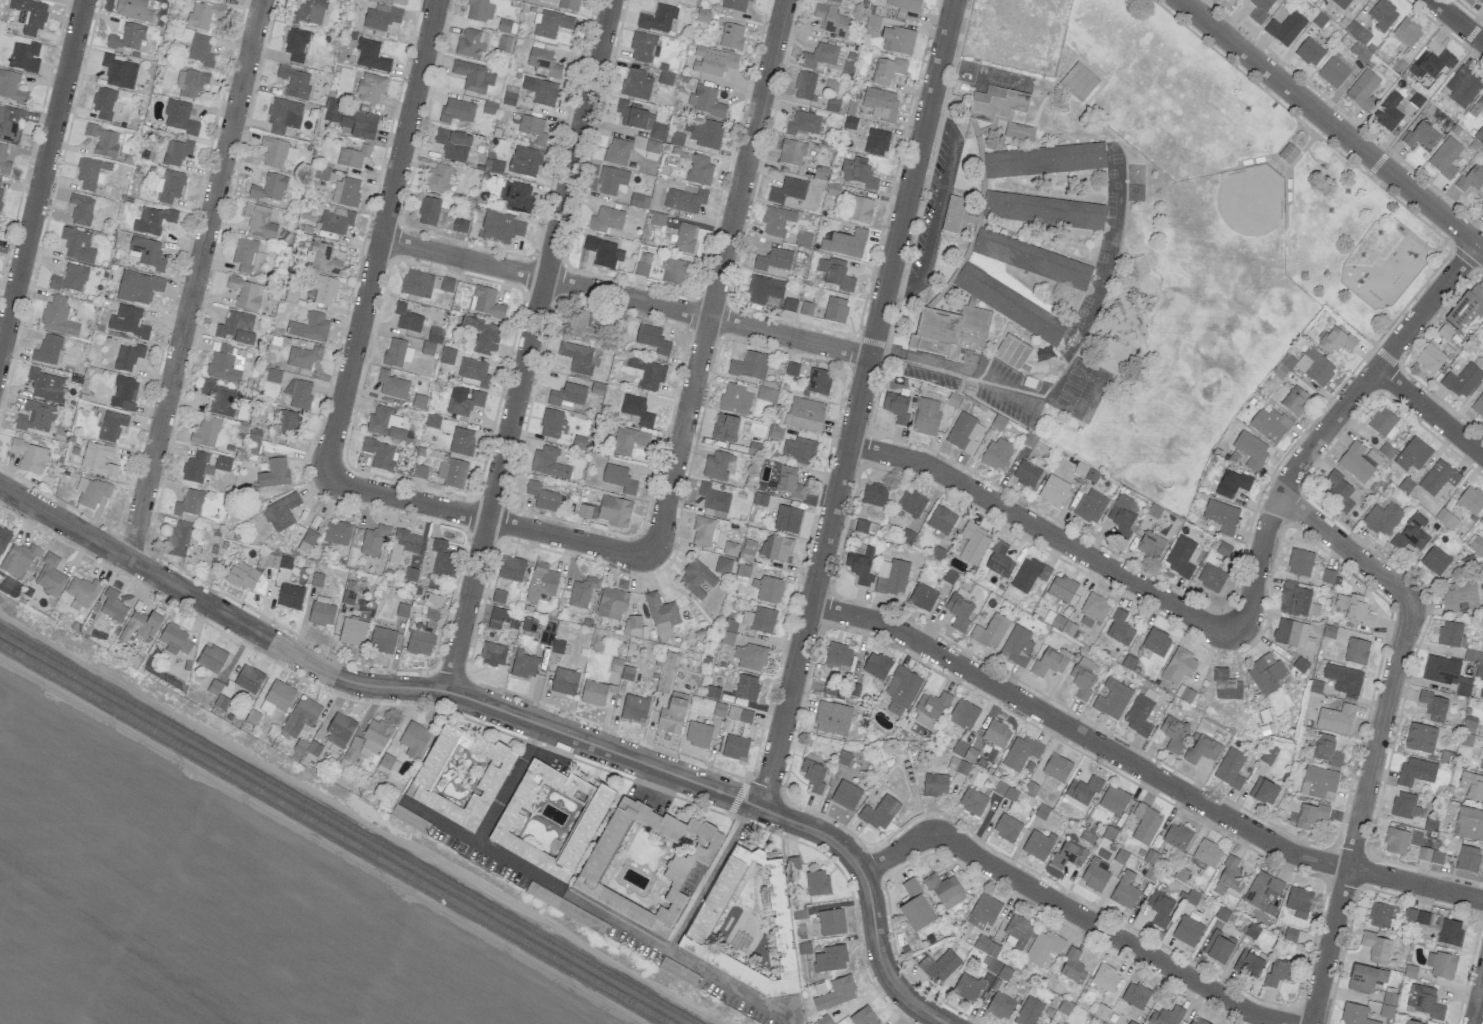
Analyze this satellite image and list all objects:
building: (1233, 0)
building: (1363, 0)
building: (396, 1)
building: (834, 1)
building: (1481, 1)
building: (1340, 3)
building: (568, 5)
building: (735, 5)
building: (906, 8)
building: (1033, 8)
building: (1261, 9)
building: (133, 10)
building: (480, 10)
building: (309, 12)
building: (29, 15)
building: (203, 15)
building: (1383, 15)
building: (381, 17)
building: (657, 18)
road: (1457, 20)
building: (831, 21)
building: (550, 24)
building: (504, 26)
building: (1285, 28)
building: (1407, 32)
building: (731, 36)
building: (128, 37)
building: (897, 40)
building: (504, 43)
building: (295, 44)
building: (470, 44)
building: (642, 47)
building: (200, 50)
building: (1309, 52)
building: (371, 56)
building: (819, 56)
building: (24, 57)
building: (712, 61)
building: (544, 62)
building: (1431, 63)
building: (887, 70)
building: (119, 72)
building: (1333, 72)
building: (473, 76)
building: (295, 82)
building: (1078, 82)
building: (190, 84)
building: (636, 84)
building: (804, 85)
building: (1463, 86)
building: (11, 87)
building: (370, 88)
building: (541, 90)
building: (1363, 90)
building: (510, 95)
road: (1430, 95)
building: (706, 101)
building: (1480, 102)
building: (103, 103)
building: (879, 104)
building: (995, 105)
building: (490, 108)
building: (456, 111)
building: (1389, 112)
building: (631, 114)
building: (283, 115)
building: (180, 117)
building: (352, 120)
building: (10, 123)
road: (1331, 124)
building: (803, 125)
building: (533, 128)
building: (655, 129)
building: (1019, 132)
building: (705, 133)
building: (1420, 136)
building: (103, 140)
building: (876, 142)
building: (453, 145)
building: (652, 146)
building: (617, 151)
building: (176, 152)
building: (276, 152)
building: (791, 152)
building: (1288, 154)
park: (1247, 155)
building: (353, 156)
building: (1445, 158)
building: (4, 159)
building: (525, 161)
building: (1044, 161)
building: (493, 166)
building: (700, 170)
building: (89, 172)
building: (858, 172)
building: (321, 173)
road: (41, 176)
building: (437, 179)
building: (0, 180)
building: (611, 180)
building: (1471, 180)
building: (169, 186)
building: (270, 188)
building: (787, 190)
building: (335, 191)
building: (349, 192)
building: (1, 194)
building: (516, 196)
building: (685, 200)
building: (1481, 207)
building: (81, 209)
building: (861, 209)
road: (935, 210)
building: (429, 211)
building: (1043, 212)
building: (954, 215)
building: (606, 219)
building: (152, 220)
building: (777, 220)
building: (259, 221)
building: (336, 221)
building: (461, 226)
building: (501, 228)
park: (1223, 231)
road: (379, 238)
building: (685, 238)
building: (803, 239)
building: (845, 243)
building: (77, 245)
building: (603, 252)
building: (146, 253)
building: (246, 255)
building: (322, 258)
building: (773, 259)
building: (1032, 259)
building: (643, 264)
building: (675, 271)
building: (835, 274)
road: (718, 276)
building: (70, 279)
road: (194, 280)
building: (417, 283)
building: (138, 287)
building: (323, 289)
building: (764, 291)
building: (246, 293)
road: (624, 296)
building: (487, 303)
building: (1010, 305)
building: (806, 308)
building: (1466, 309)
building: (836, 310)
building: (58, 317)
building: (407, 319)
building: (128, 321)
building: (581, 325)
building: (310, 327)
building: (237, 328)
building: (950, 330)
building: (1445, 331)
building: (482, 335)
building: (652, 339)
building: (1336, 340)
building: (431, 342)
road: (527, 345)
building: (49, 349)
building: (1012, 352)
building: (396, 353)
building: (447, 356)
building: (128, 357)
building: (303, 357)
building: (577, 357)
building: (1430, 358)
building: (225, 362)
building: (749, 365)
building: (1315, 366)
building: (791, 369)
road: (956, 369)
building: (474, 371)
building: (648, 373)
building: (273, 375)
building: (1462, 380)
building: (818, 381)
building: (45, 385)
building: (392, 385)
building: (123, 393)
building: (298, 393)
building: (567, 395)
building: (218, 398)
building: (735, 399)
building: (463, 400)
building: (1295, 400)
building: (419, 401)
road: (856, 403)
building: (1478, 405)
building: (896, 407)
building: (636, 410)
road: (1429, 412)
building: (805, 414)
building: (35, 417)
building: (926, 417)
building: (432, 421)
building: (1382, 421)
building: (287, 423)
building: (386, 423)
road: (1329, 423)
building: (552, 424)
building: (1269, 424)
building: (111, 426)
building: (724, 428)
building: (205, 432)
building: (965, 433)
building: (628, 440)
building: (461, 441)
building: (1251, 449)
building: (799, 450)
building: (997, 453)
building: (380, 454)
building: (1413, 454)
building: (30, 456)
building: (97, 458)
building: (549, 462)
building: (1355, 462)
building: (222, 463)
building: (716, 466)
building: (194, 467)
building: (274, 473)
building: (452, 473)
building: (1026, 474)
building: (1439, 477)
building: (619, 478)
building: (788, 482)
building: (1231, 484)
building: (1054, 490)
building: (1339, 490)
building: (90, 492)
building: (873, 494)
building: (543, 497)
building: (714, 498)
building: (1471, 500)
building: (189, 503)
building: (911, 503)
building: (1091, 506)
building: (607, 511)
building: (281, 512)
building: (1221, 516)
road: (488, 519)
building: (787, 519)
building: (1122, 519)
building: (1382, 519)
building: (941, 520)
building: (1481, 521)
building: (865, 526)
road: (1043, 529)
building: (703, 532)
building: (337, 533)
building: (1410, 534)
building: (309, 537)
building: (3, 539)
building: (177, 539)
building: (374, 540)
building: (973, 543)
building: (404, 544)
building: (1151, 545)
building: (1476, 545)
building: (750, 547)
building: (730, 548)
building: (776, 548)
building: (1182, 556)
building: (274, 559)
building: (442, 559)
building: (999, 559)
building: (18, 560)
building: (1435, 560)
building: (1300, 562)
building: (723, 566)
building: (860, 567)
building: (512, 568)
building: (742, 570)
building: (1029, 574)
building: (49, 576)
building: (242, 576)
building: (892, 577)
building: (1211, 577)
building: (696, 578)
building: (541, 582)
building: (768, 589)
building: (1061, 589)
building: (82, 591)
building: (582, 592)
building: (290, 596)
building: (498, 596)
building: (1459, 596)
building: (348, 597)
building: (922, 597)
building: (1294, 599)
building: (612, 603)
building: (431, 605)
building: (112, 606)
building: (959, 609)
building: (1093, 610)
building: (1358, 610)
building: (322, 613)
building: (661, 615)
building: (498, 617)
building: (759, 619)
building: (429, 625)
building: (529, 625)
building: (632, 625)
building: (141, 626)
building: (1119, 629)
building: (352, 631)
building: (728, 631)
building: (990, 631)
building: (1293, 634)
building: (1451, 634)
building: (175, 639)
building: (382, 640)
building: (419, 642)
building: (552, 642)
building: (1156, 642)
building: (1017, 646)
building: (1356, 651)
building: (492, 654)
building: (750, 657)
building: (838, 657)
building: (211, 658)
building: (1050, 662)
building: (523, 665)
building: (876, 665)
building: (1178, 666)
building: (666, 672)
building: (627, 673)
building: (1446, 673)
building: (1266, 674)
building: (1343, 678)
building: (248, 679)
building: (565, 681)
building: (1082, 682)
building: (1226, 685)
building: (746, 687)
building: (831, 690)
building: (901, 690)
building: (598, 693)
building: (1184, 693)
building: (1481, 693)
building: (277, 697)
building: (1112, 698)
building: (932, 705)
building: (1433, 705)
building: (634, 707)
building: (720, 709)
building: (672, 713)
building: (739, 714)
building: (963, 714)
road: (514, 715)
building: (1139, 715)
building: (301, 716)
building: (832, 718)
building: (1336, 718)
road: (1379, 729)
building: (339, 730)
building: (698, 734)
building: (996, 734)
building: (1174, 734)
building: (1420, 738)
building: (414, 739)
building: (366, 742)
building: (735, 746)
building: (306, 748)
building: (1202, 749)
building: (1326, 750)
building: (1020, 752)
building: (386, 763)
building: (1482, 763)
road: (1140, 766)
building: (1057, 767)
building: (1230, 768)
building: (1416, 771)
building: (813, 775)
building: (459, 776)
building: (1319, 783)
building: (935, 784)
building: (1472, 786)
building: (1004, 790)
building: (1263, 791)
building: (1080, 793)
building: (846, 795)
building: (1114, 800)
building: (972, 801)
building: (1405, 805)
building: (879, 813)
building: (1311, 815)
building: (550, 819)
road: (439, 821)
road: (485, 822)
building: (1469, 823)
building: (1145, 824)
railway: (347, 826)
building: (1007, 827)
railway: (335, 833)
building: (1177, 836)
building: (1396, 841)
building: (1037, 844)
building: (1206, 854)
building: (1424, 854)
building: (1068, 855)
building: (1468, 858)
building: (793, 863)
building: (645, 864)
building: (1095, 875)
road: (708, 877)
building: (1229, 877)
building: (817, 882)
building: (945, 891)
building: (1125, 891)
building: (1263, 892)
building: (1299, 902)
crop: (209, 905)
building: (916, 907)
building: (1160, 907)
building: (983, 912)
road: (1075, 913)
building: (1380, 915)
building: (1416, 916)
building: (831, 922)
building: (746, 923)
building: (1018, 931)
building: (1187, 931)
building: (1449, 932)
building: (1043, 947)
building: (1217, 947)
building: (1376, 947)
road: (679, 957)
building: (830, 958)
building: (1248, 964)
building: (1441, 964)
building: (939, 966)
building: (1073, 967)
building: (1278, 972)
building: (1365, 977)
building: (1105, 978)
building: (836, 993)
building: (1135, 995)
building: (1424, 1001)
road: (1477, 1001)
building: (1388, 1004)
building: (1000, 1006)
building: (1028, 1011)
building: (1355, 1014)
building: (863, 1016)
building: (1167, 1016)
building: (1197, 1021)
building: (1411, 1022)

